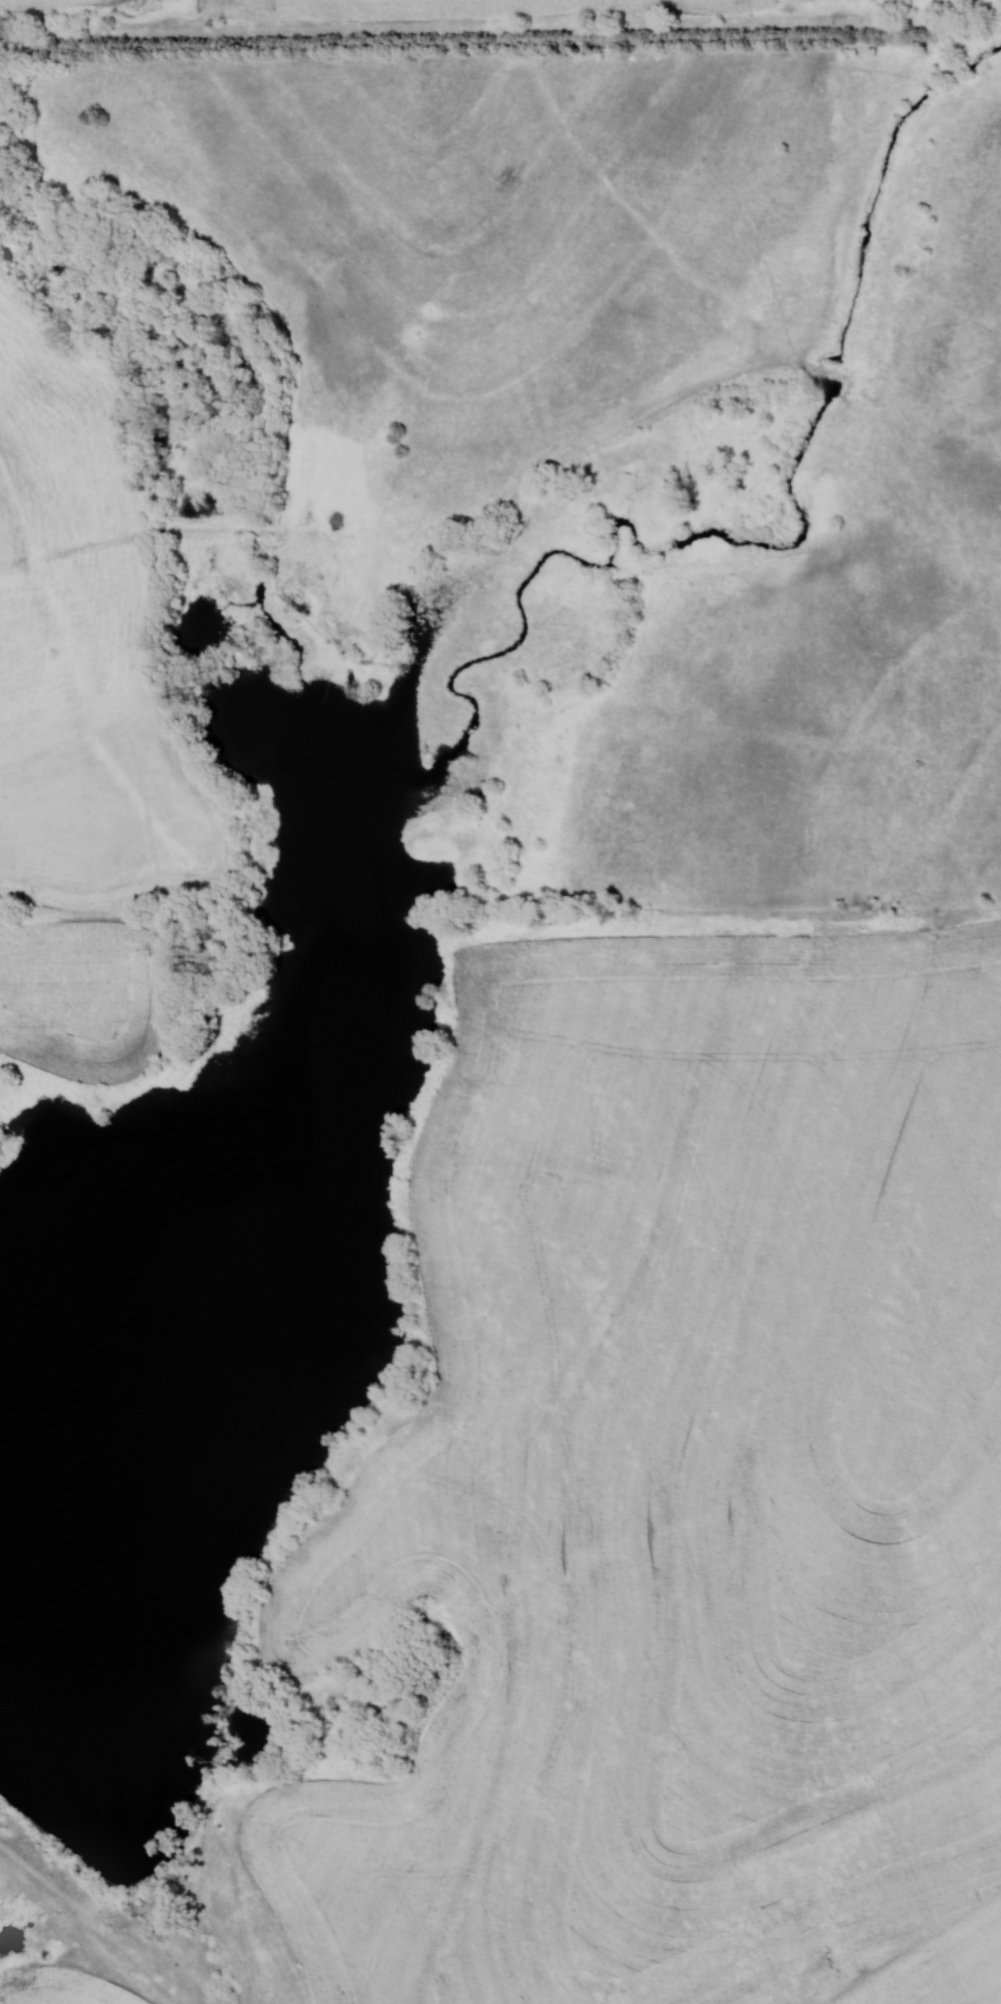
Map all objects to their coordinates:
dam: (58, 1829)
road: (228, 1967)

